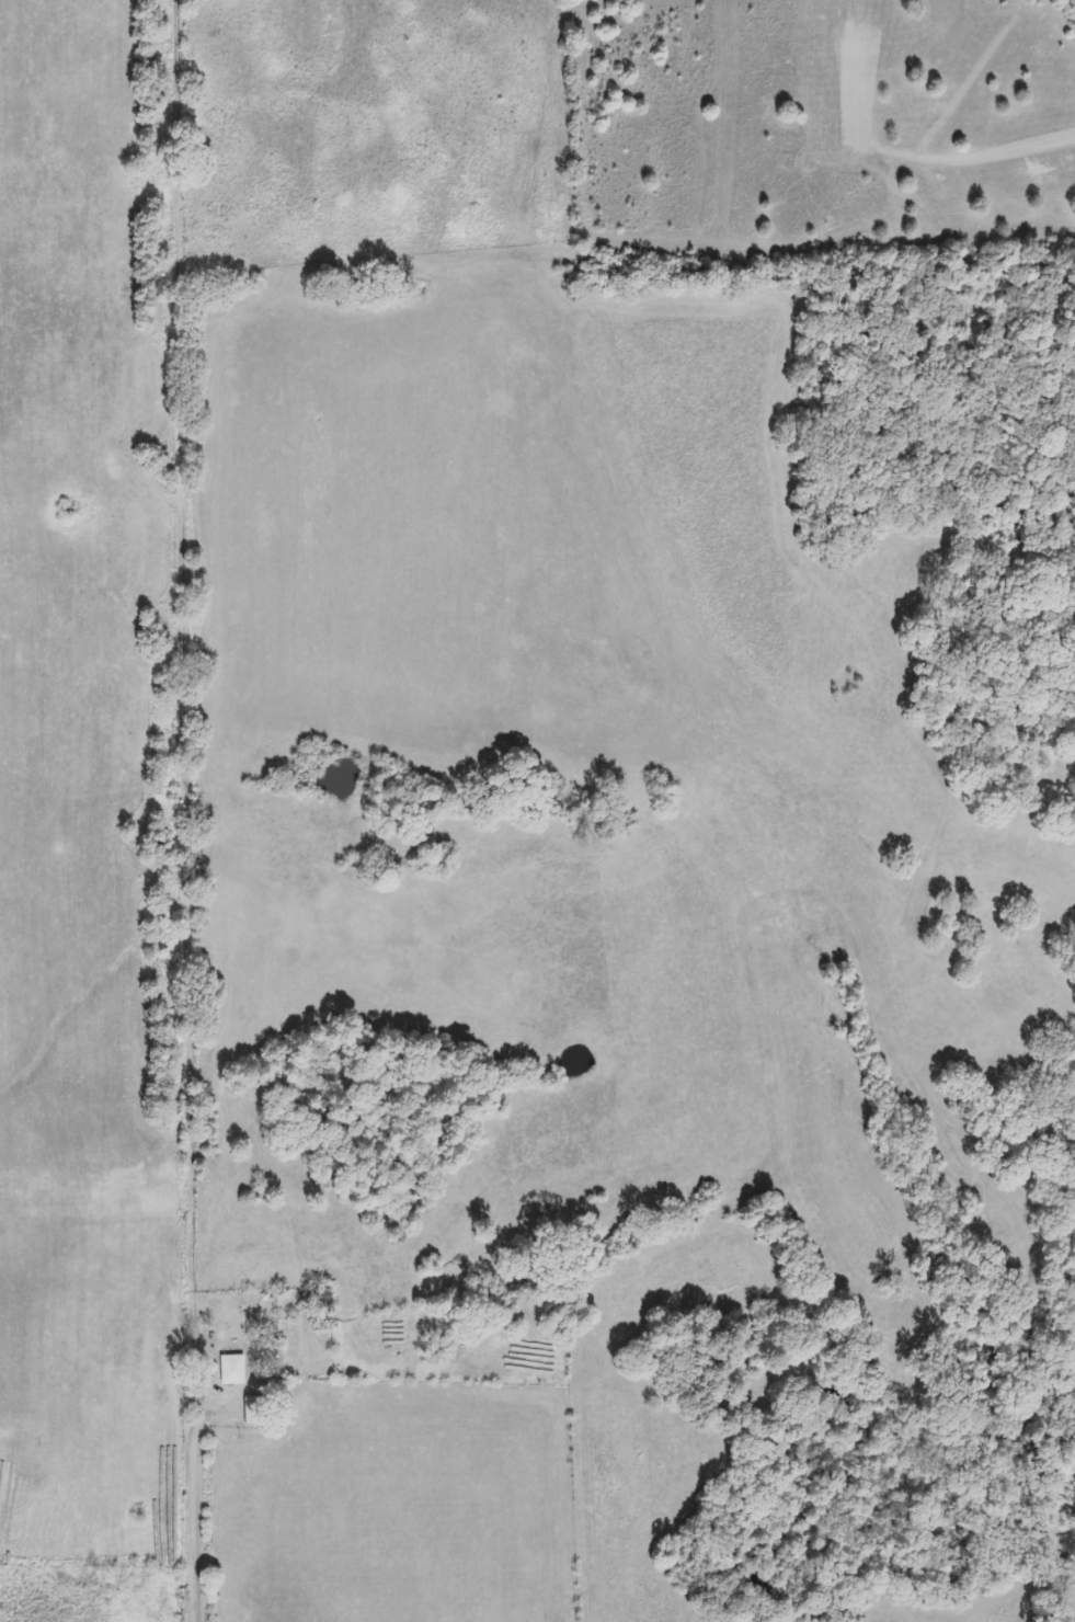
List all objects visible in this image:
building: (235, 1369)
building: (255, 1409)
road: (204, 1540)

